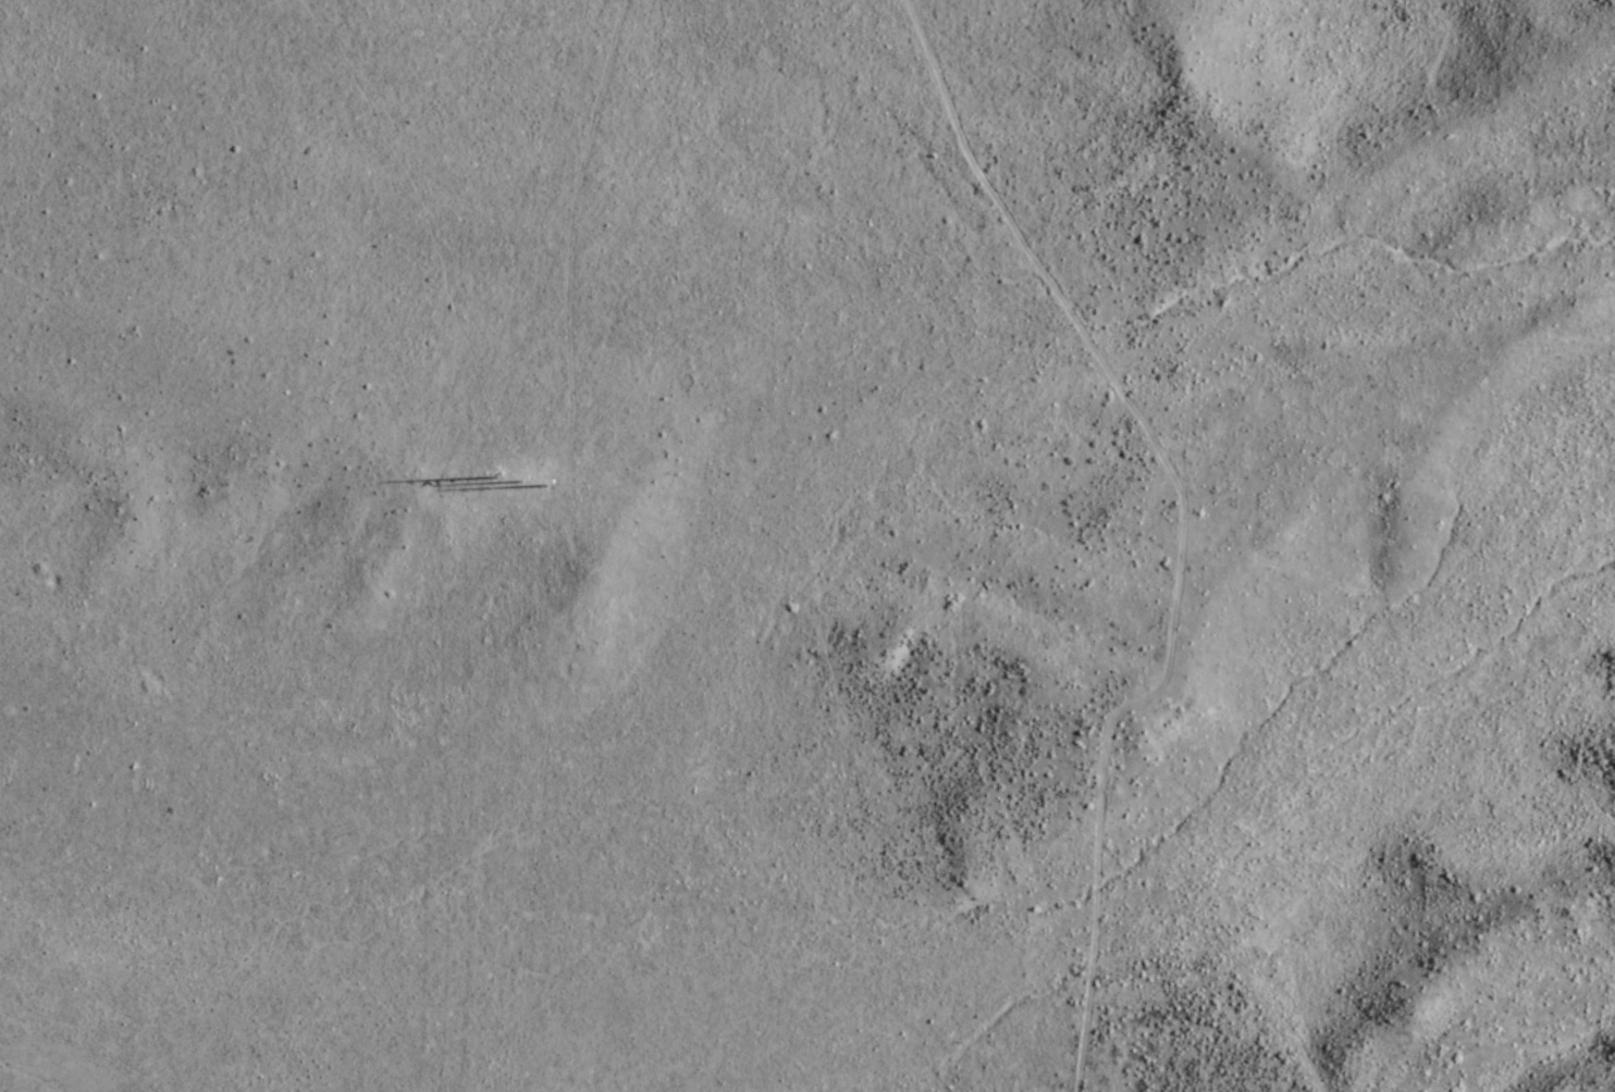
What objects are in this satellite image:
crop: (178, 5)
power tower: (522, 495)
road: (1179, 523)
crop: (9, 1081)

